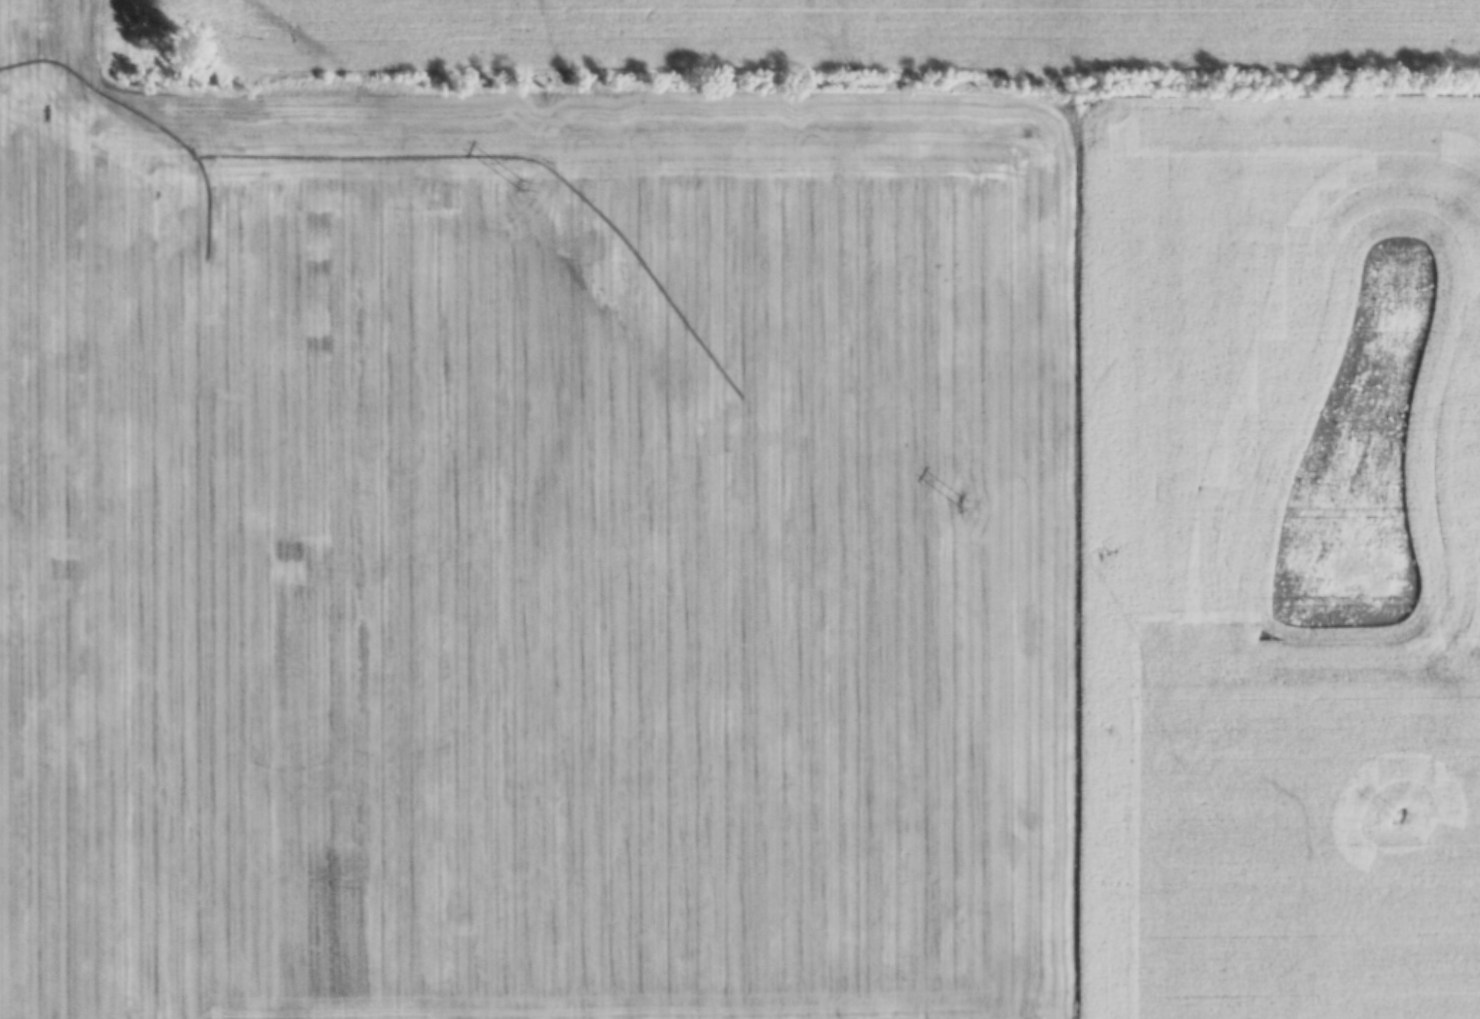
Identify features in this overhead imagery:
power tower: (523, 181)
power tower: (964, 502)
power tower: (1397, 817)

